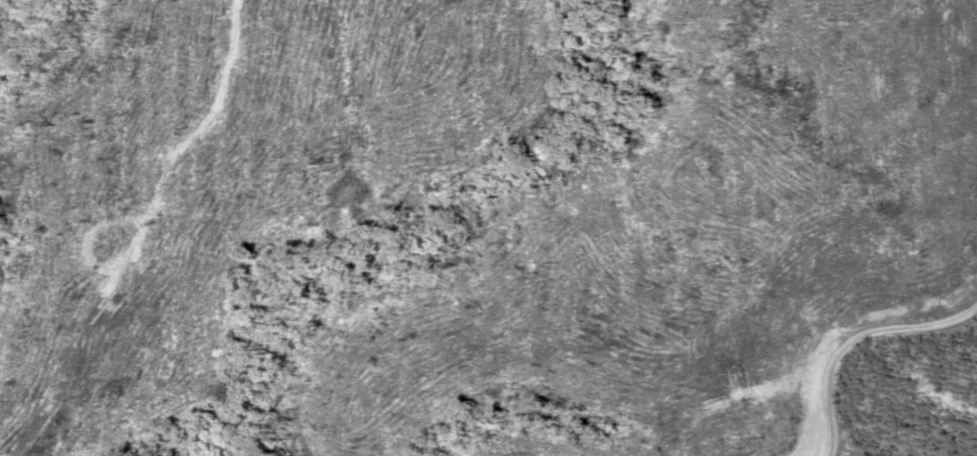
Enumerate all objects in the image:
road: (850, 336)

